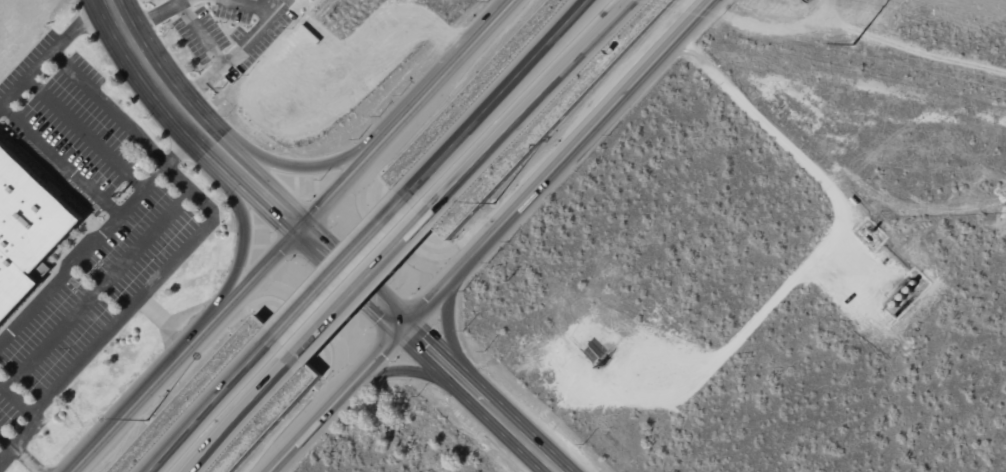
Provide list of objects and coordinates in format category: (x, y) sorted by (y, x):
power tower: (855, 44)
road: (155, 77)
road: (33, 81)
road: (109, 100)
road: (500, 100)
road: (532, 108)
building: (26, 229)
road: (291, 234)
road: (311, 235)
road: (493, 236)
road: (195, 249)
road: (344, 268)
road: (365, 287)
road: (81, 369)
road: (484, 399)
road: (213, 404)
road: (247, 414)
road: (21, 451)

